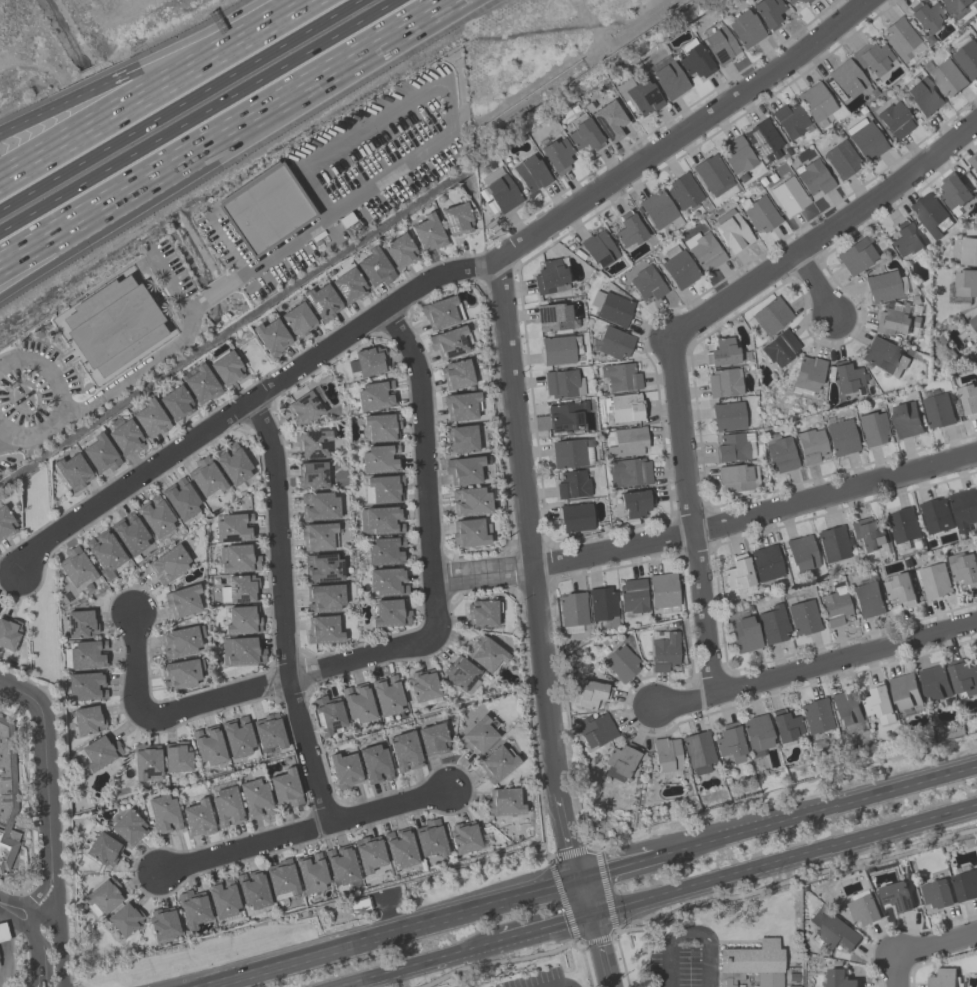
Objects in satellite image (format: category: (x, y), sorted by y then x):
building: (788, 1)
building: (804, 1)
building: (954, 7)
building: (768, 12)
building: (927, 17)
building: (744, 29)
building: (901, 39)
building: (718, 43)
building: (872, 57)
building: (967, 58)
building: (694, 59)
road: (143, 66)
building: (667, 78)
building: (948, 78)
building: (847, 79)
road: (152, 91)
building: (638, 96)
building: (923, 97)
building: (815, 102)
road: (182, 106)
road: (200, 117)
building: (789, 120)
building: (895, 120)
building: (608, 121)
road: (448, 131)
road: (679, 131)
building: (583, 134)
road: (235, 136)
building: (866, 139)
building: (763, 140)
building: (557, 155)
building: (737, 155)
building: (841, 159)
building: (973, 160)
building: (531, 173)
building: (713, 175)
building: (812, 178)
building: (500, 190)
building: (683, 192)
building: (954, 194)
building: (788, 196)
building: (265, 210)
building: (659, 210)
building: (760, 213)
building: (930, 214)
building: (456, 219)
building: (347, 221)
building: (629, 230)
building: (732, 231)
building: (427, 233)
road: (822, 235)
road: (92, 237)
building: (905, 239)
building: (598, 249)
building: (965, 249)
building: (704, 250)
building: (399, 251)
building: (855, 256)
building: (374, 268)
building: (678, 268)
building: (549, 277)
road: (168, 280)
building: (966, 282)
building: (647, 283)
building: (348, 286)
building: (882, 286)
road: (216, 291)
road: (811, 295)
building: (322, 302)
road: (196, 305)
building: (611, 308)
building: (441, 312)
building: (771, 316)
building: (553, 317)
building: (895, 319)
building: (297, 320)
building: (974, 321)
building: (112, 325)
building: (269, 335)
building: (449, 342)
building: (614, 343)
building: (780, 348)
building: (557, 350)
building: (722, 352)
building: (884, 357)
building: (367, 362)
building: (226, 368)
road: (136, 372)
building: (456, 374)
building: (807, 375)
building: (620, 377)
building: (847, 377)
building: (200, 383)
building: (724, 383)
building: (562, 384)
building: (375, 396)
road: (60, 398)
road: (254, 398)
building: (969, 399)
building: (175, 403)
building: (461, 406)
building: (303, 408)
building: (623, 408)
building: (937, 410)
building: (566, 416)
building: (728, 416)
building: (906, 418)
building: (150, 419)
building: (381, 427)
road: (1, 429)
building: (873, 429)
building: (124, 437)
building: (841, 438)
building: (461, 439)
building: (627, 442)
building: (311, 444)
building: (811, 446)
building: (734, 447)
building: (780, 453)
building: (99, 454)
building: (570, 454)
building: (380, 459)
building: (232, 464)
building: (463, 470)
building: (72, 472)
building: (628, 472)
building: (311, 475)
building: (205, 477)
building: (734, 478)
building: (572, 485)
building: (382, 489)
building: (180, 499)
building: (470, 501)
building: (636, 502)
building: (318, 506)
building: (964, 507)
road: (689, 514)
road: (758, 514)
building: (935, 515)
building: (155, 517)
building: (575, 517)
building: (380, 520)
building: (5, 523)
building: (903, 526)
building: (233, 527)
building: (469, 532)
building: (129, 534)
building: (867, 534)
building: (318, 536)
building: (832, 543)
building: (104, 550)
building: (384, 551)
building: (802, 553)
building: (238, 558)
building: (765, 563)
building: (168, 564)
building: (75, 566)
building: (322, 568)
building: (963, 568)
building: (738, 572)
road: (483, 573)
building: (934, 580)
building: (387, 581)
building: (900, 588)
building: (239, 589)
road: (539, 591)
building: (663, 592)
building: (633, 595)
building: (324, 597)
building: (868, 599)
building: (182, 600)
building: (602, 604)
building: (834, 606)
building: (572, 612)
building: (389, 613)
building: (482, 613)
road: (280, 615)
building: (803, 617)
building: (242, 620)
building: (80, 624)
building: (773, 624)
building: (322, 630)
building: (8, 633)
building: (745, 634)
building: (180, 641)
road: (398, 645)
building: (663, 650)
building: (242, 651)
building: (86, 654)
building: (485, 654)
building: (620, 663)
road: (809, 664)
building: (180, 673)
building: (461, 676)
building: (964, 677)
building: (934, 682)
building: (86, 685)
building: (422, 686)
building: (905, 690)
building: (589, 693)
building: (386, 695)
building: (879, 702)
building: (358, 703)
building: (845, 708)
building: (328, 715)
building: (816, 716)
building: (87, 719)
building: (785, 726)
building: (594, 730)
building: (268, 732)
building: (756, 733)
building: (237, 737)
building: (432, 739)
building: (729, 741)
building: (208, 745)
building: (404, 751)
building: (100, 752)
building: (698, 752)
building: (177, 757)
building: (666, 757)
building: (620, 761)
building: (146, 763)
building: (374, 764)
building: (9, 769)
road: (44, 769)
building: (344, 770)
building: (284, 788)
building: (254, 798)
building: (504, 803)
building: (226, 807)
road: (823, 810)
building: (162, 814)
building: (197, 818)
building: (128, 827)
road: (306, 831)
building: (464, 837)
building: (430, 838)
building: (400, 848)
building: (103, 849)
building: (2, 854)
building: (369, 855)
road: (783, 861)
building: (341, 864)
road: (623, 869)
building: (311, 873)
building: (281, 879)
building: (965, 884)
building: (252, 889)
building: (937, 893)
building: (896, 895)
building: (102, 897)
building: (222, 898)
road: (55, 904)
building: (192, 908)
building: (864, 909)
road: (32, 913)
building: (124, 919)
road: (13, 920)
building: (163, 923)
road: (27, 926)
road: (690, 929)
building: (832, 929)
road: (544, 931)
building: (3, 933)
road: (390, 933)
road: (938, 947)
road: (600, 951)
road: (60, 962)
building: (751, 964)
road: (420, 965)
building: (0, 969)
road: (898, 973)
building: (943, 977)
building: (839, 978)
building: (746, 979)
road: (559, 983)
road: (208, 986)

